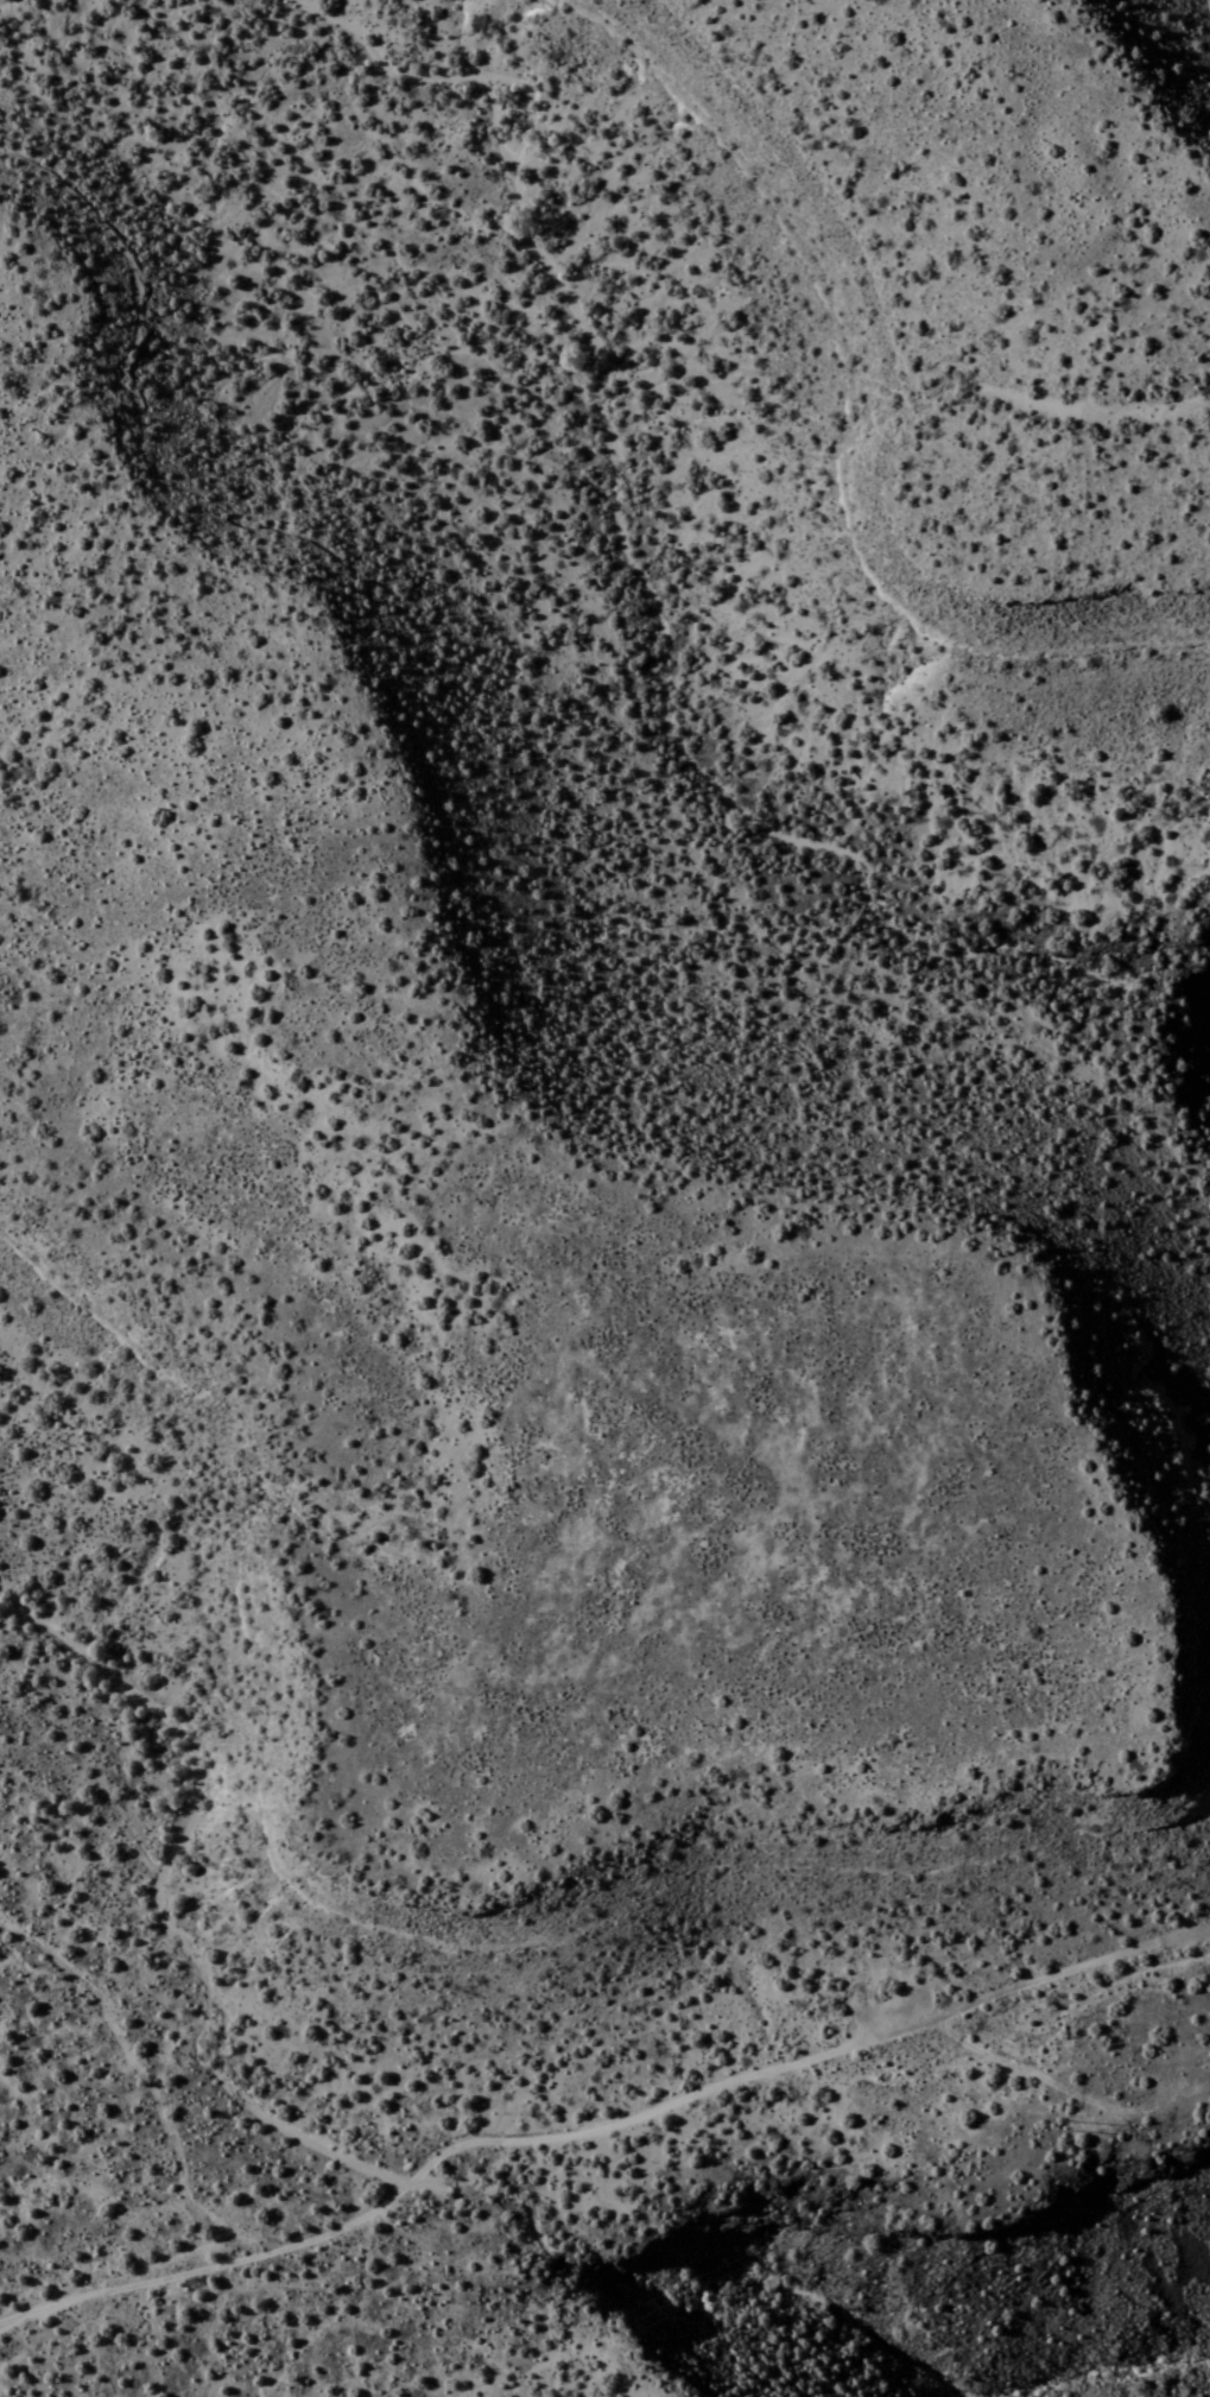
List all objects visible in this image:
road: (597, 2123)

